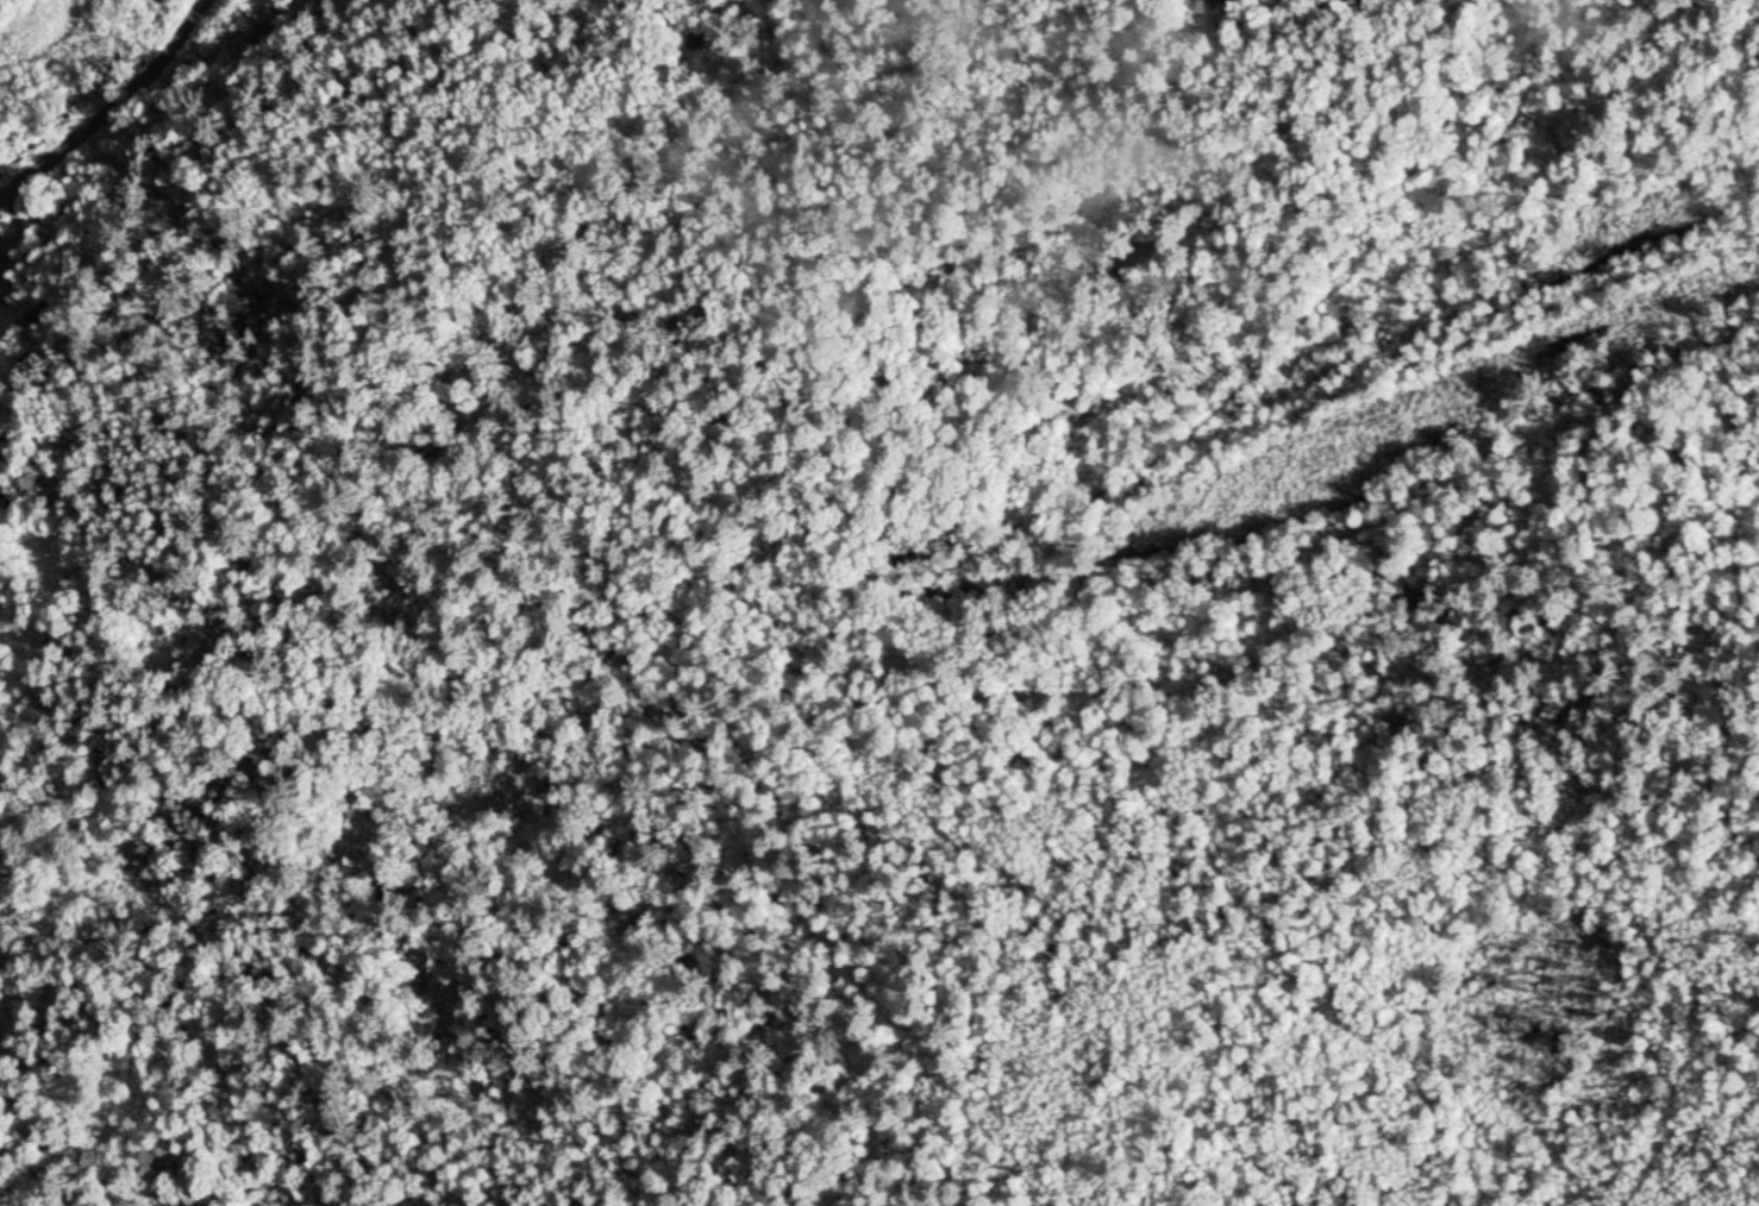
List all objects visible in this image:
road: (111, 111)

